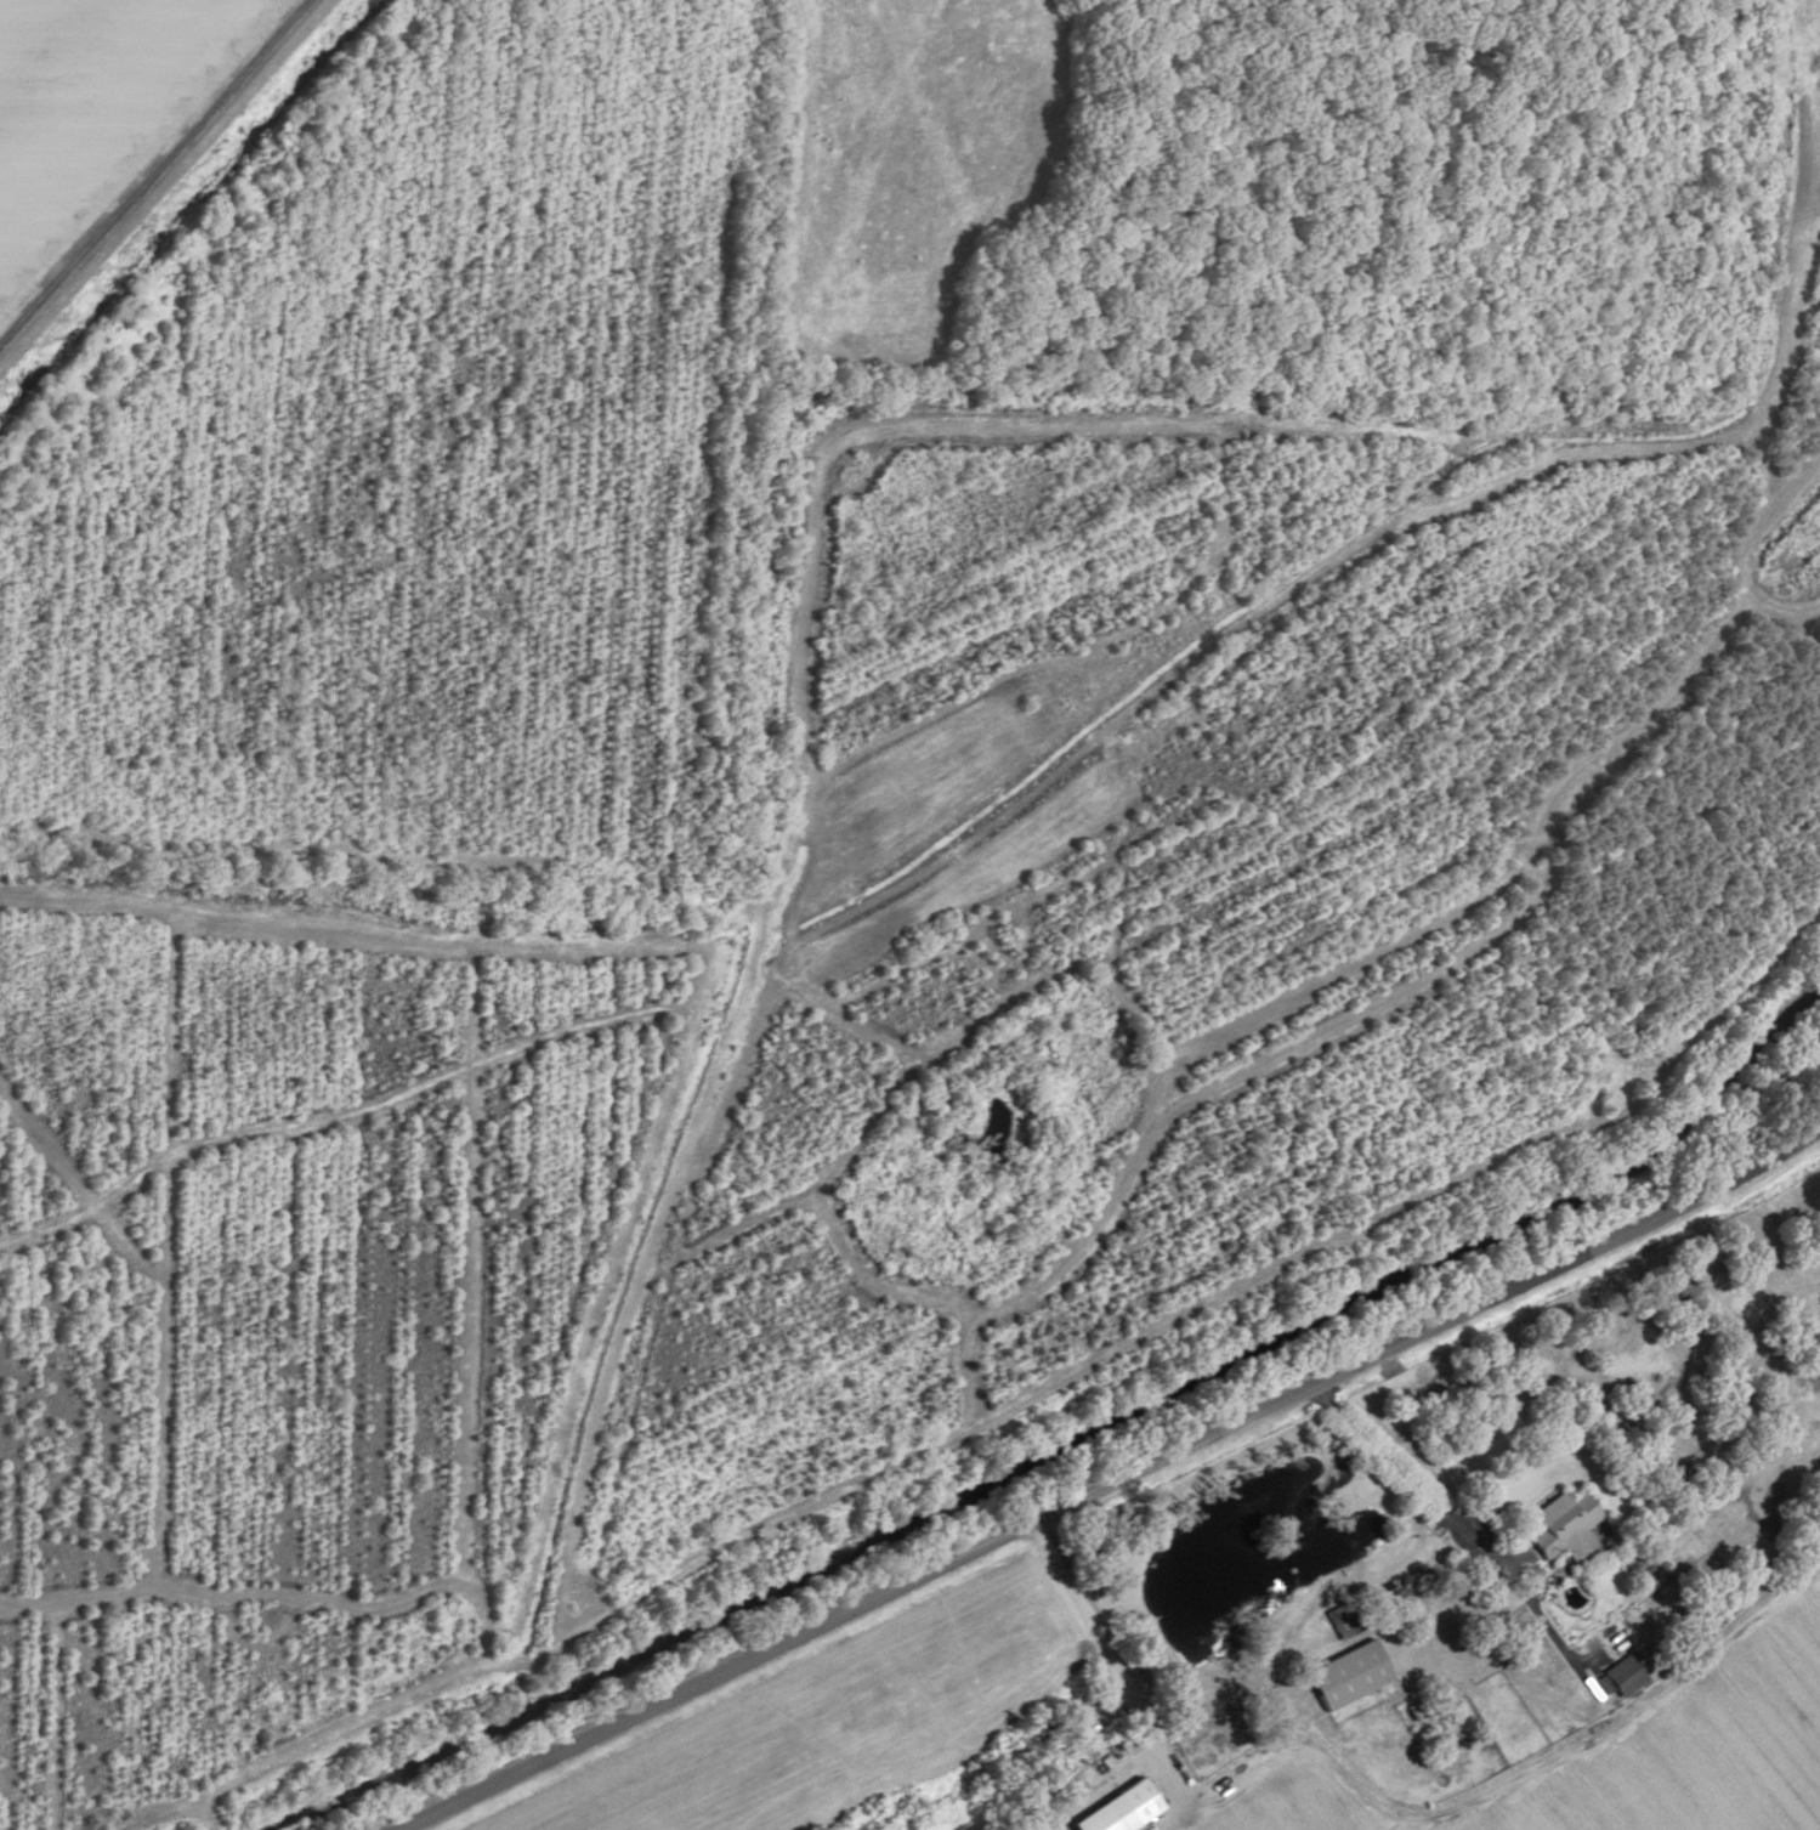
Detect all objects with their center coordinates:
road: (141, 155)
road: (1109, 1484)
building: (1558, 1526)
road: (1455, 1528)
building: (1363, 1676)
building: (1617, 1677)
road: (1498, 1785)
building: (1111, 1808)

